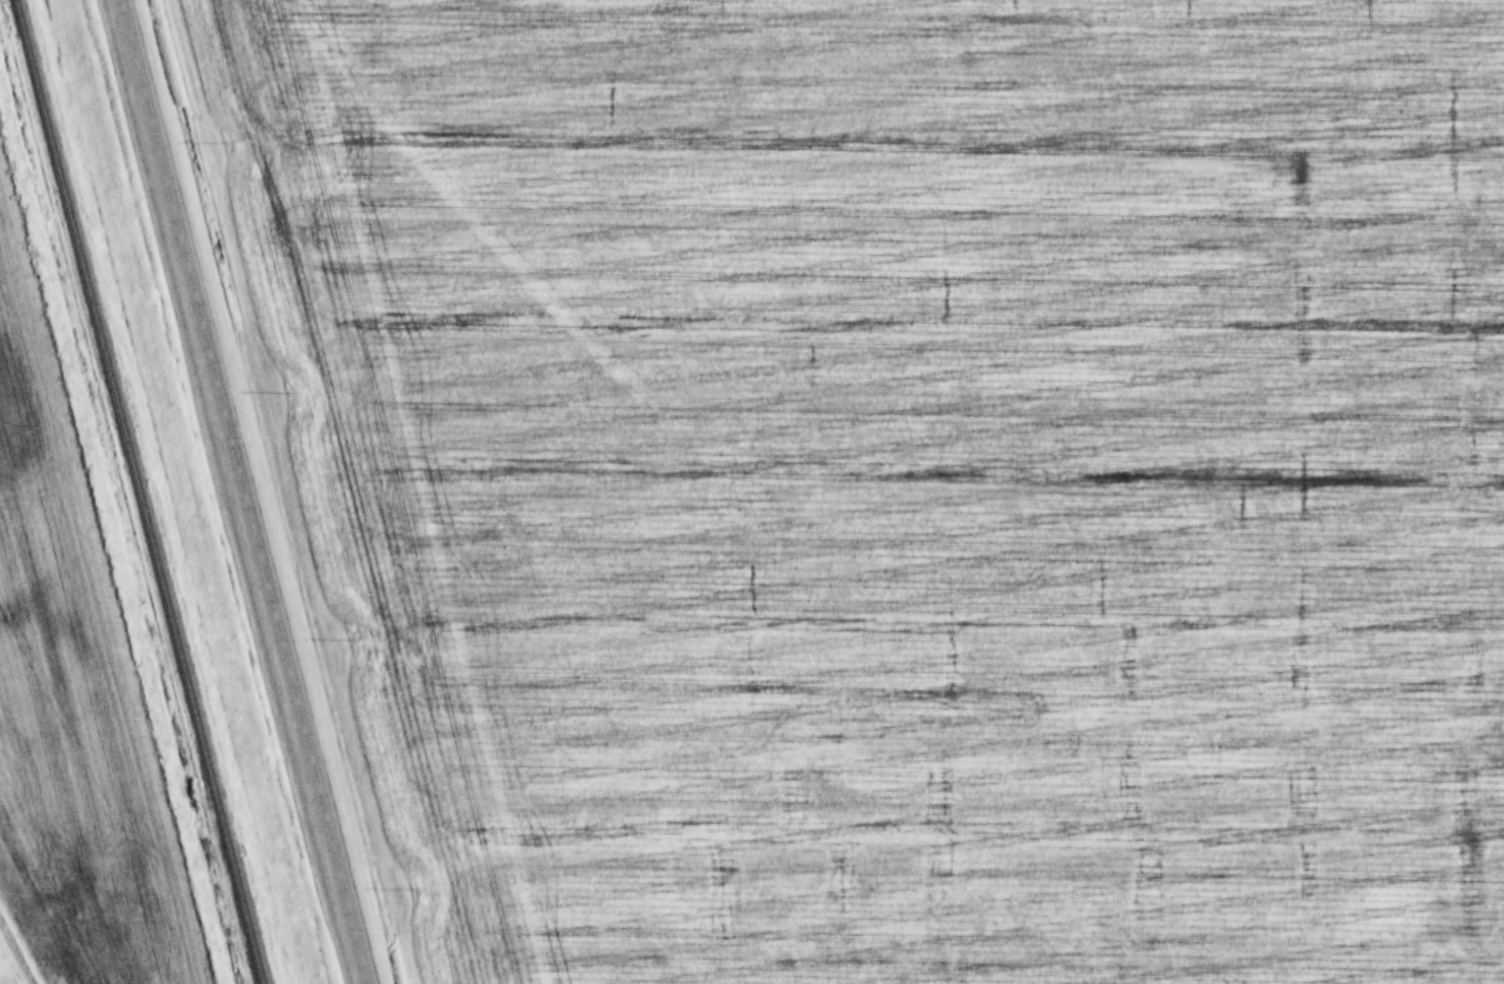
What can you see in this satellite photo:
road: (250, 491)
railway: (134, 492)

